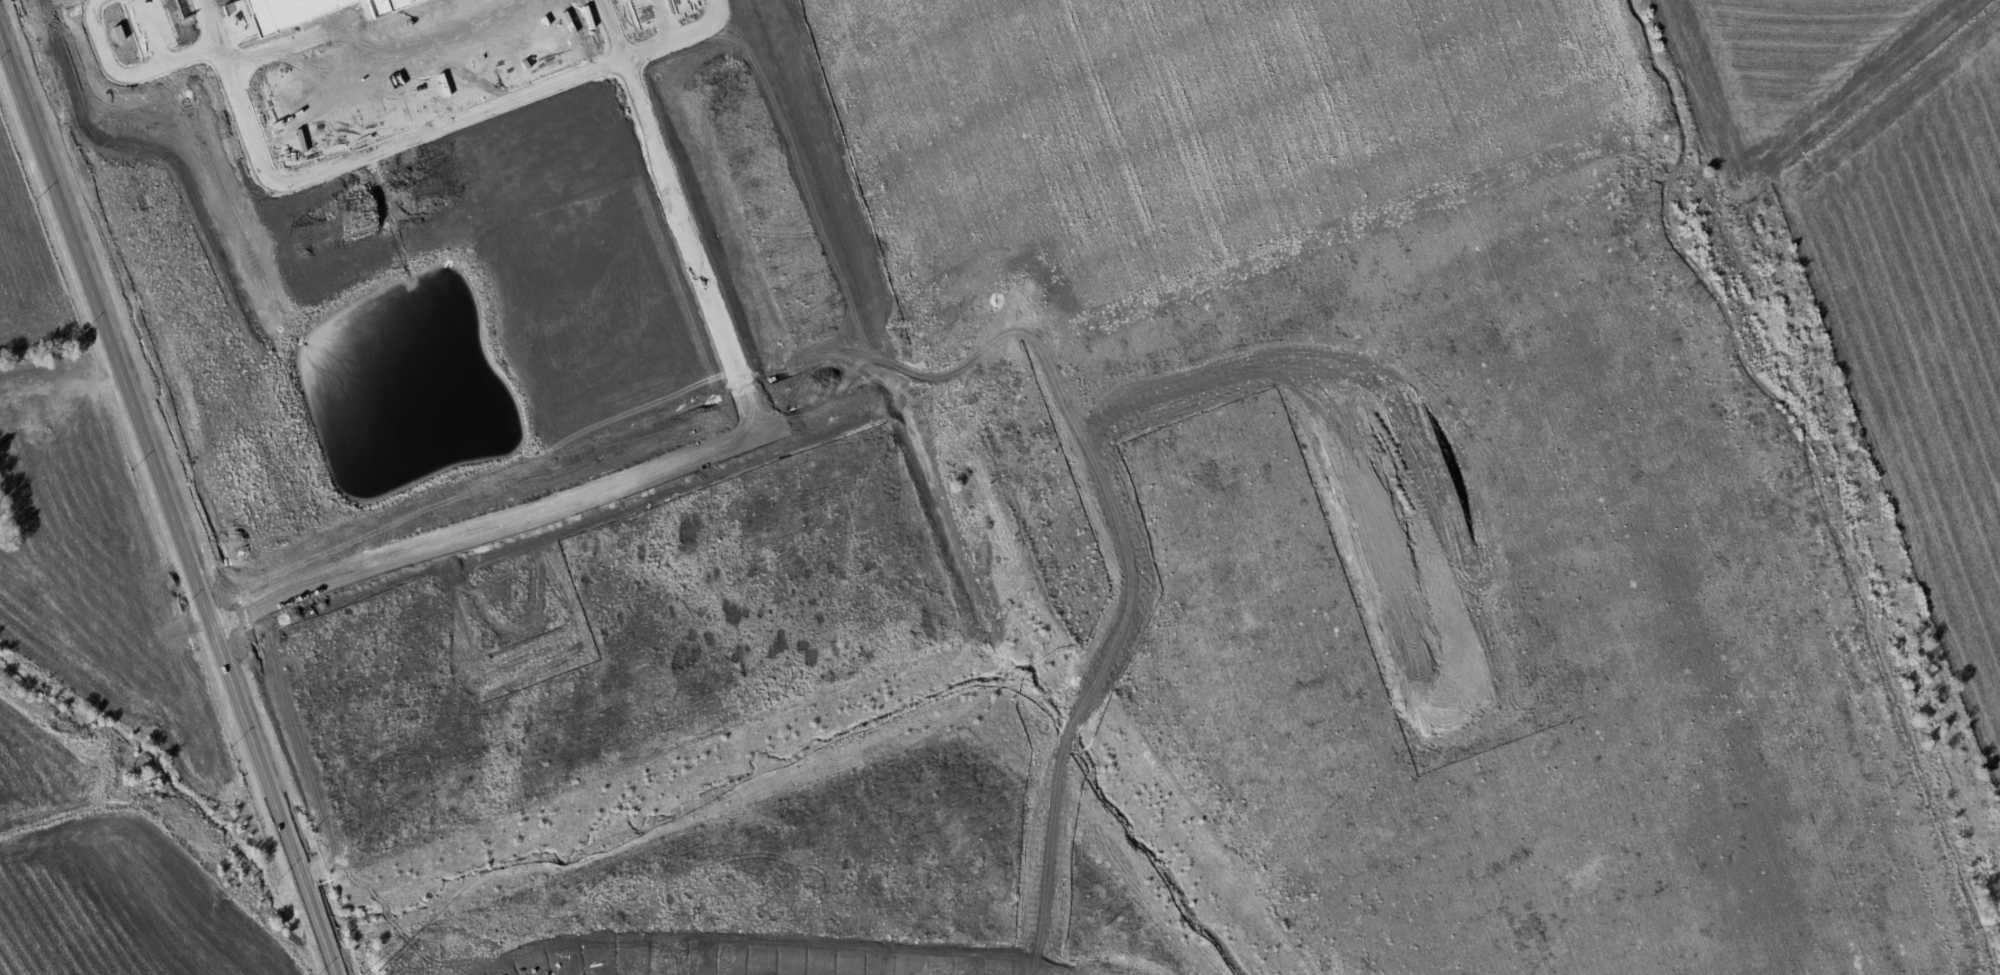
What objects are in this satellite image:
road: (209, 24)
road: (609, 30)
road: (678, 38)
road: (292, 182)
road: (1521, 223)
road: (691, 246)
road: (1410, 333)
road: (1150, 358)
road: (950, 362)
road: (166, 509)
road: (1764, 613)
road: (1565, 647)
road: (1358, 651)
road: (1832, 757)
road: (1803, 767)
road: (1842, 786)
road: (1813, 797)
road: (1646, 824)
road: (1691, 829)
road: (1617, 835)
road: (1656, 853)
road: (1627, 864)

